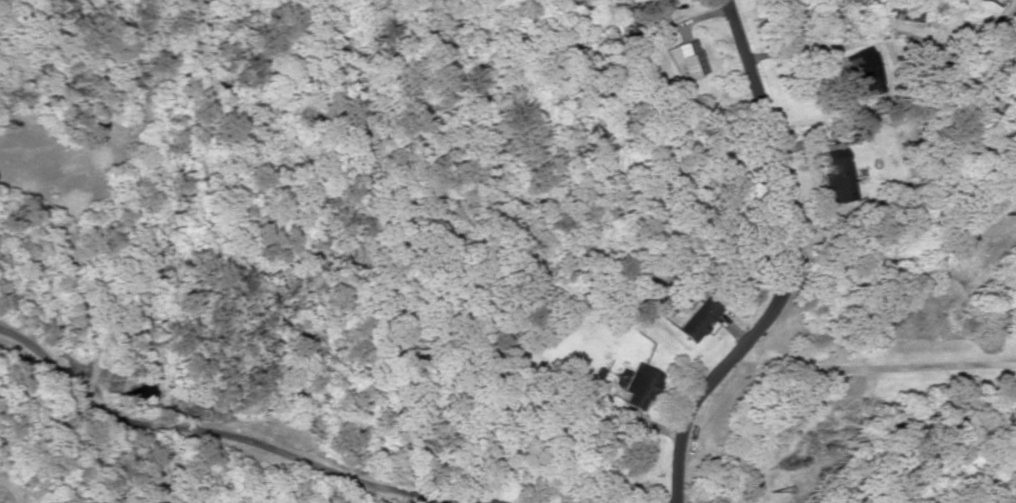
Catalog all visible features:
building: (615, 1)
building: (898, 10)
building: (688, 59)
building: (860, 71)
building: (836, 175)
power tower: (995, 219)
road: (570, 241)
road: (796, 243)
building: (695, 320)
building: (640, 389)
power tower: (774, 479)
road: (687, 480)

